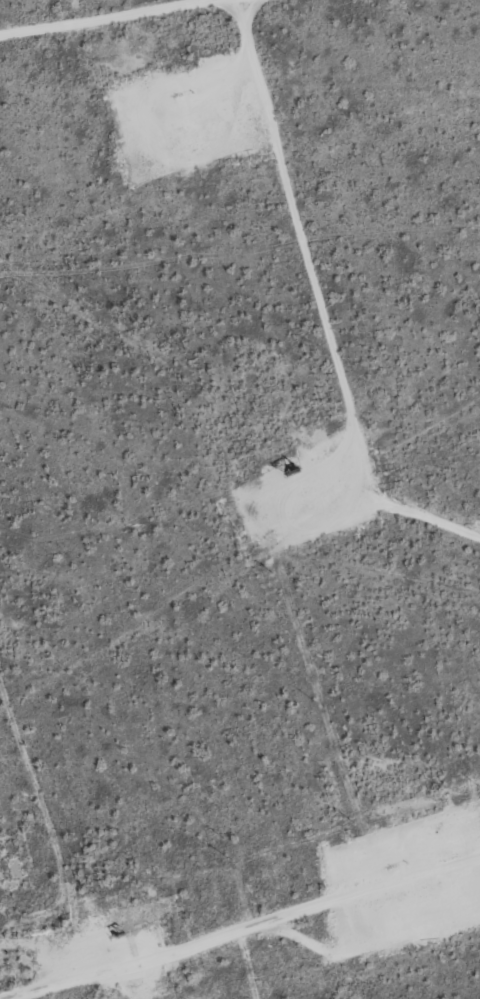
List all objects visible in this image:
road: (123, 21)
petroleum well: (293, 472)
road: (240, 925)

